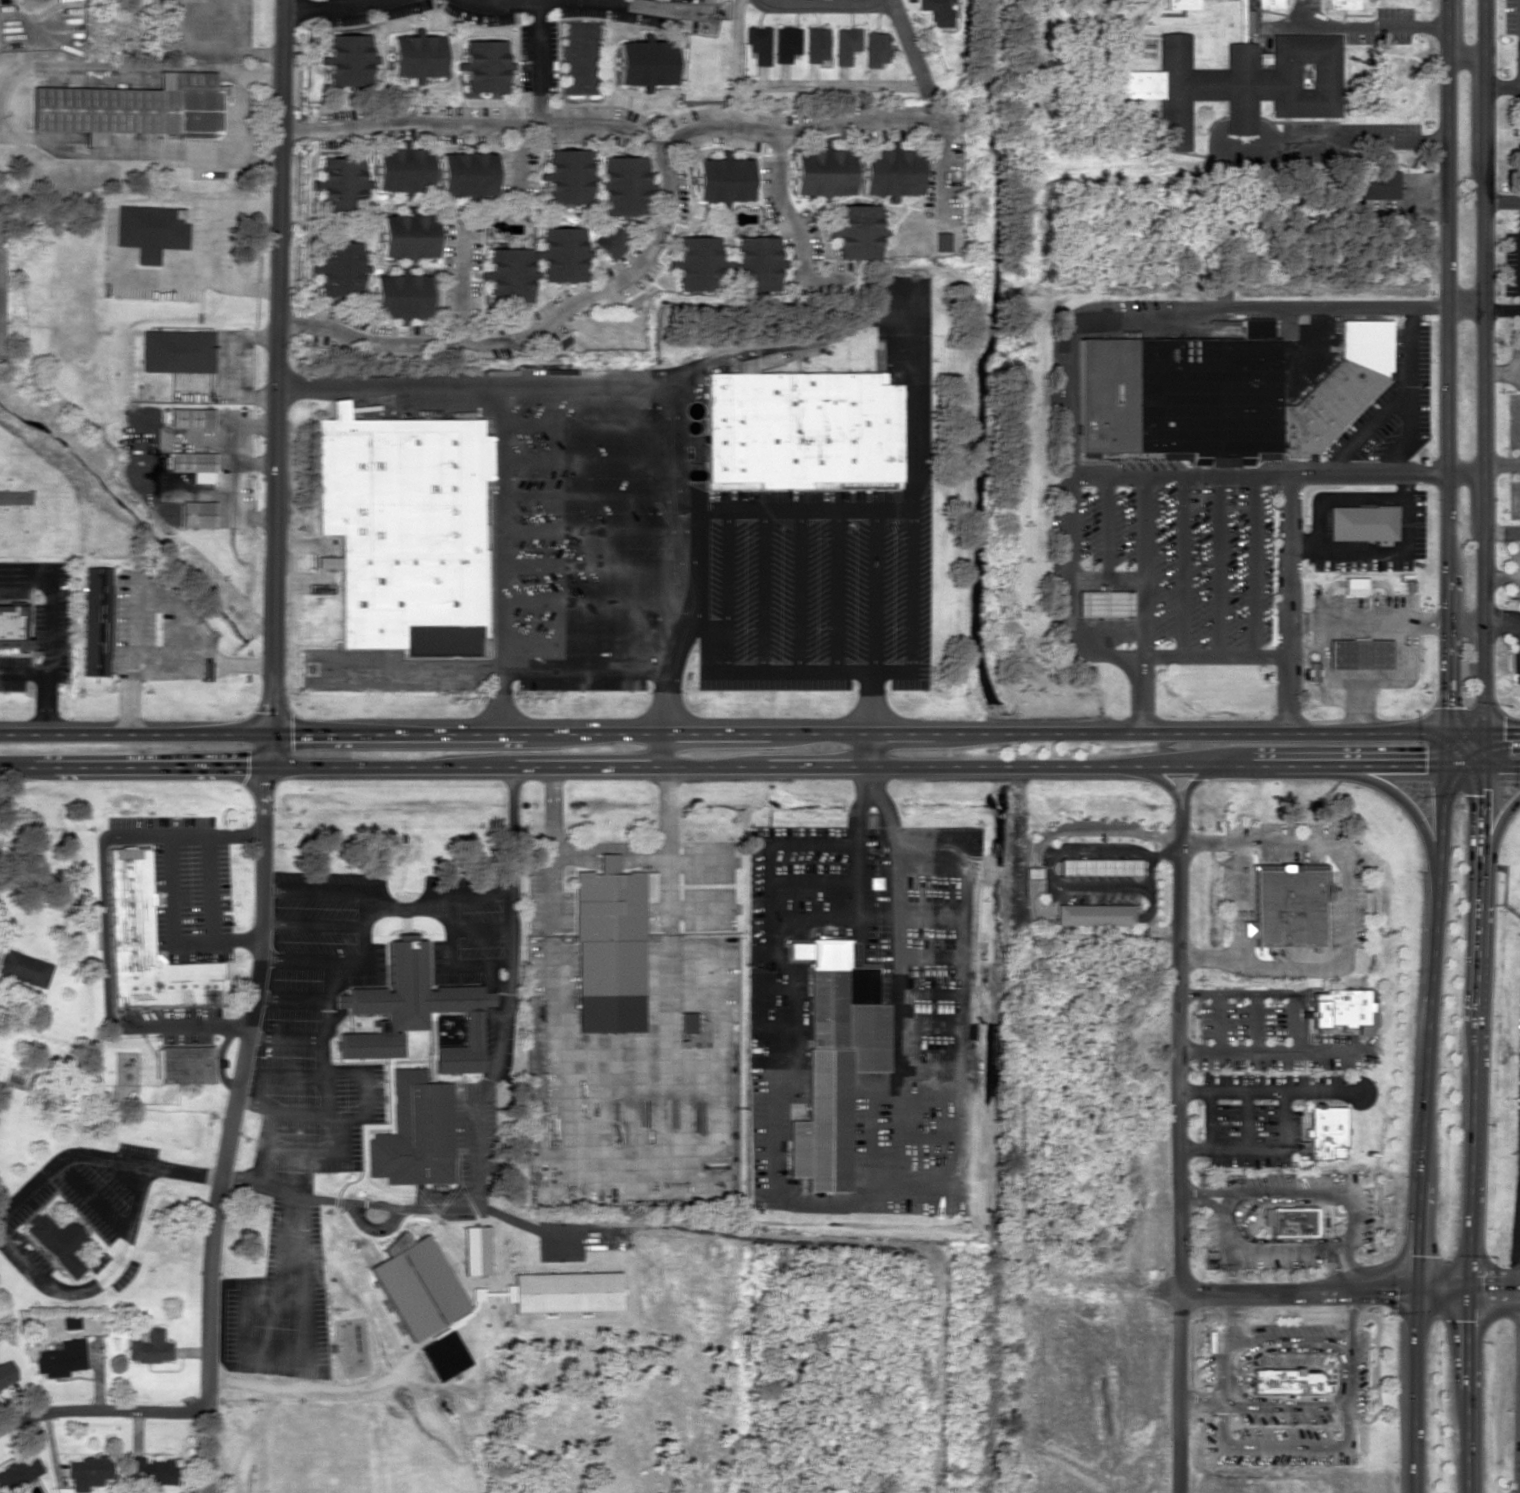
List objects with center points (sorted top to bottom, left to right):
road: (888, 0)
road: (625, 1)
road: (823, 2)
road: (497, 3)
building: (1270, 4)
building: (1183, 6)
building: (1344, 6)
road: (332, 8)
building: (936, 11)
parking lot: (1511, 16)
building: (785, 42)
building: (758, 43)
building: (816, 44)
building: (845, 44)
building: (874, 47)
road: (908, 49)
road: (1464, 54)
building: (417, 55)
building: (349, 59)
road: (540, 63)
building: (645, 63)
building: (484, 65)
road: (786, 86)
road: (1502, 86)
building: (1235, 87)
building: (134, 107)
road: (849, 121)
parking lot: (1519, 157)
building: (403, 169)
building: (822, 171)
building: (890, 171)
building: (467, 173)
building: (568, 175)
building: (723, 178)
building: (341, 183)
building: (623, 184)
building: (1382, 184)
road: (1502, 200)
road: (668, 209)
road: (797, 229)
building: (150, 230)
building: (857, 231)
building: (408, 234)
building: (940, 241)
building: (610, 242)
building: (561, 253)
building: (758, 261)
parking lot: (1512, 262)
building: (697, 263)
building: (339, 268)
building: (508, 274)
road: (459, 276)
building: (3, 287)
building: (401, 295)
road: (1178, 307)
road: (1465, 308)
road: (1502, 309)
parking lot: (1518, 331)
park: (608, 332)
road: (803, 343)
building: (178, 350)
building: (745, 364)
road: (1446, 366)
road: (1484, 366)
road: (277, 383)
road: (486, 386)
road: (1410, 392)
building: (1216, 395)
building: (192, 417)
road: (599, 424)
road: (1369, 426)
building: (801, 428)
road: (599, 460)
building: (190, 461)
road: (1502, 463)
road: (1465, 471)
road: (1256, 472)
road: (598, 494)
road: (801, 509)
building: (197, 513)
building: (1360, 521)
building: (405, 526)
road: (598, 530)
building: (485, 531)
road: (1501, 533)
road: (1105, 544)
road: (695, 549)
parking lot: (693, 553)
parking lot: (1175, 556)
road: (501, 558)
road: (1217, 563)
road: (1253, 563)
road: (598, 564)
road: (1180, 564)
road: (727, 574)
building: (1354, 584)
road: (798, 590)
road: (835, 590)
road: (873, 590)
road: (761, 591)
road: (596, 599)
building: (1103, 602)
road: (1288, 602)
road: (1142, 603)
road: (909, 610)
building: (97, 619)
road: (1466, 621)
road: (1501, 622)
building: (12, 626)
road: (591, 635)
road: (1519, 645)
road: (1090, 653)
building: (1359, 653)
gas station: (1360, 653)
road: (586, 672)
road: (873, 702)
traffic signals: (268, 730)
road: (483, 731)
traffic signals: (1449, 732)
road: (1243, 733)
traffic signals: (1484, 733)
road: (873, 748)
road: (663, 749)
traffic signals: (1444, 764)
road: (611, 765)
road: (1371, 765)
traffic signals: (266, 766)
traffic signals: (1483, 766)
road: (1193, 779)
road: (1163, 782)
road: (1403, 801)
road: (1494, 835)
building: (1098, 865)
building: (1032, 871)
building: (1288, 902)
building: (1092, 913)
building: (148, 943)
building: (609, 947)
building: (25, 968)
road: (1235, 992)
building: (1338, 1006)
building: (414, 1011)
road: (1254, 1020)
road: (1292, 1020)
building: (686, 1021)
road: (1216, 1021)
road: (1178, 1049)
road: (1271, 1049)
building: (834, 1058)
building: (185, 1063)
road: (1267, 1092)
road: (1421, 1112)
road: (1474, 1112)
road: (1210, 1120)
road: (1245, 1120)
road: (229, 1128)
building: (1325, 1131)
building: (414, 1132)
road: (1257, 1148)
parking lot: (1516, 1159)
road: (1188, 1192)
road: (1323, 1192)
road: (1219, 1200)
building: (1289, 1221)
building: (58, 1241)
road: (1249, 1247)
building: (476, 1248)
road: (1332, 1268)
road: (1228, 1269)
road: (1467, 1278)
traffic signals: (1470, 1278)
building: (415, 1284)
traffic signals: (1415, 1288)
road: (1297, 1289)
building: (563, 1291)
road: (1466, 1301)
traffic signals: (1469, 1302)
building: (71, 1321)
road: (1258, 1339)
road: (1259, 1342)
building: (150, 1346)
road: (1316, 1346)
building: (443, 1354)
building: (60, 1357)
road: (1219, 1369)
road: (1236, 1372)
building: (1287, 1381)
road: (1177, 1391)
road: (1198, 1403)
road: (1344, 1404)
road: (102, 1409)
road: (1283, 1444)
building: (19, 1470)
building: (152, 1470)
building: (88, 1471)

